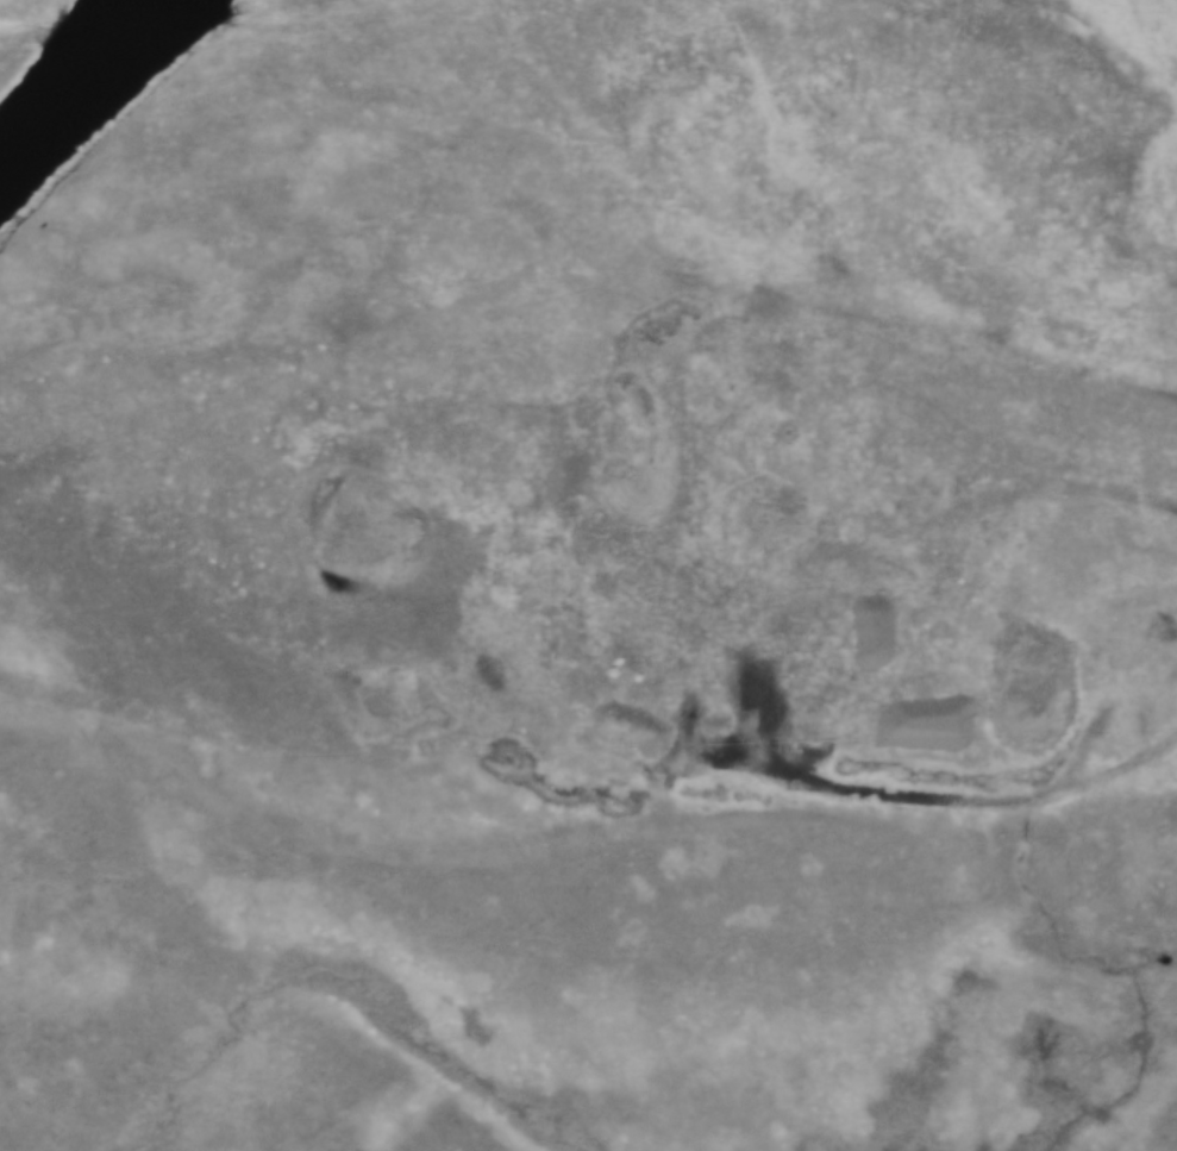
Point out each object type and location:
river: (79, 81)
road: (596, 676)

